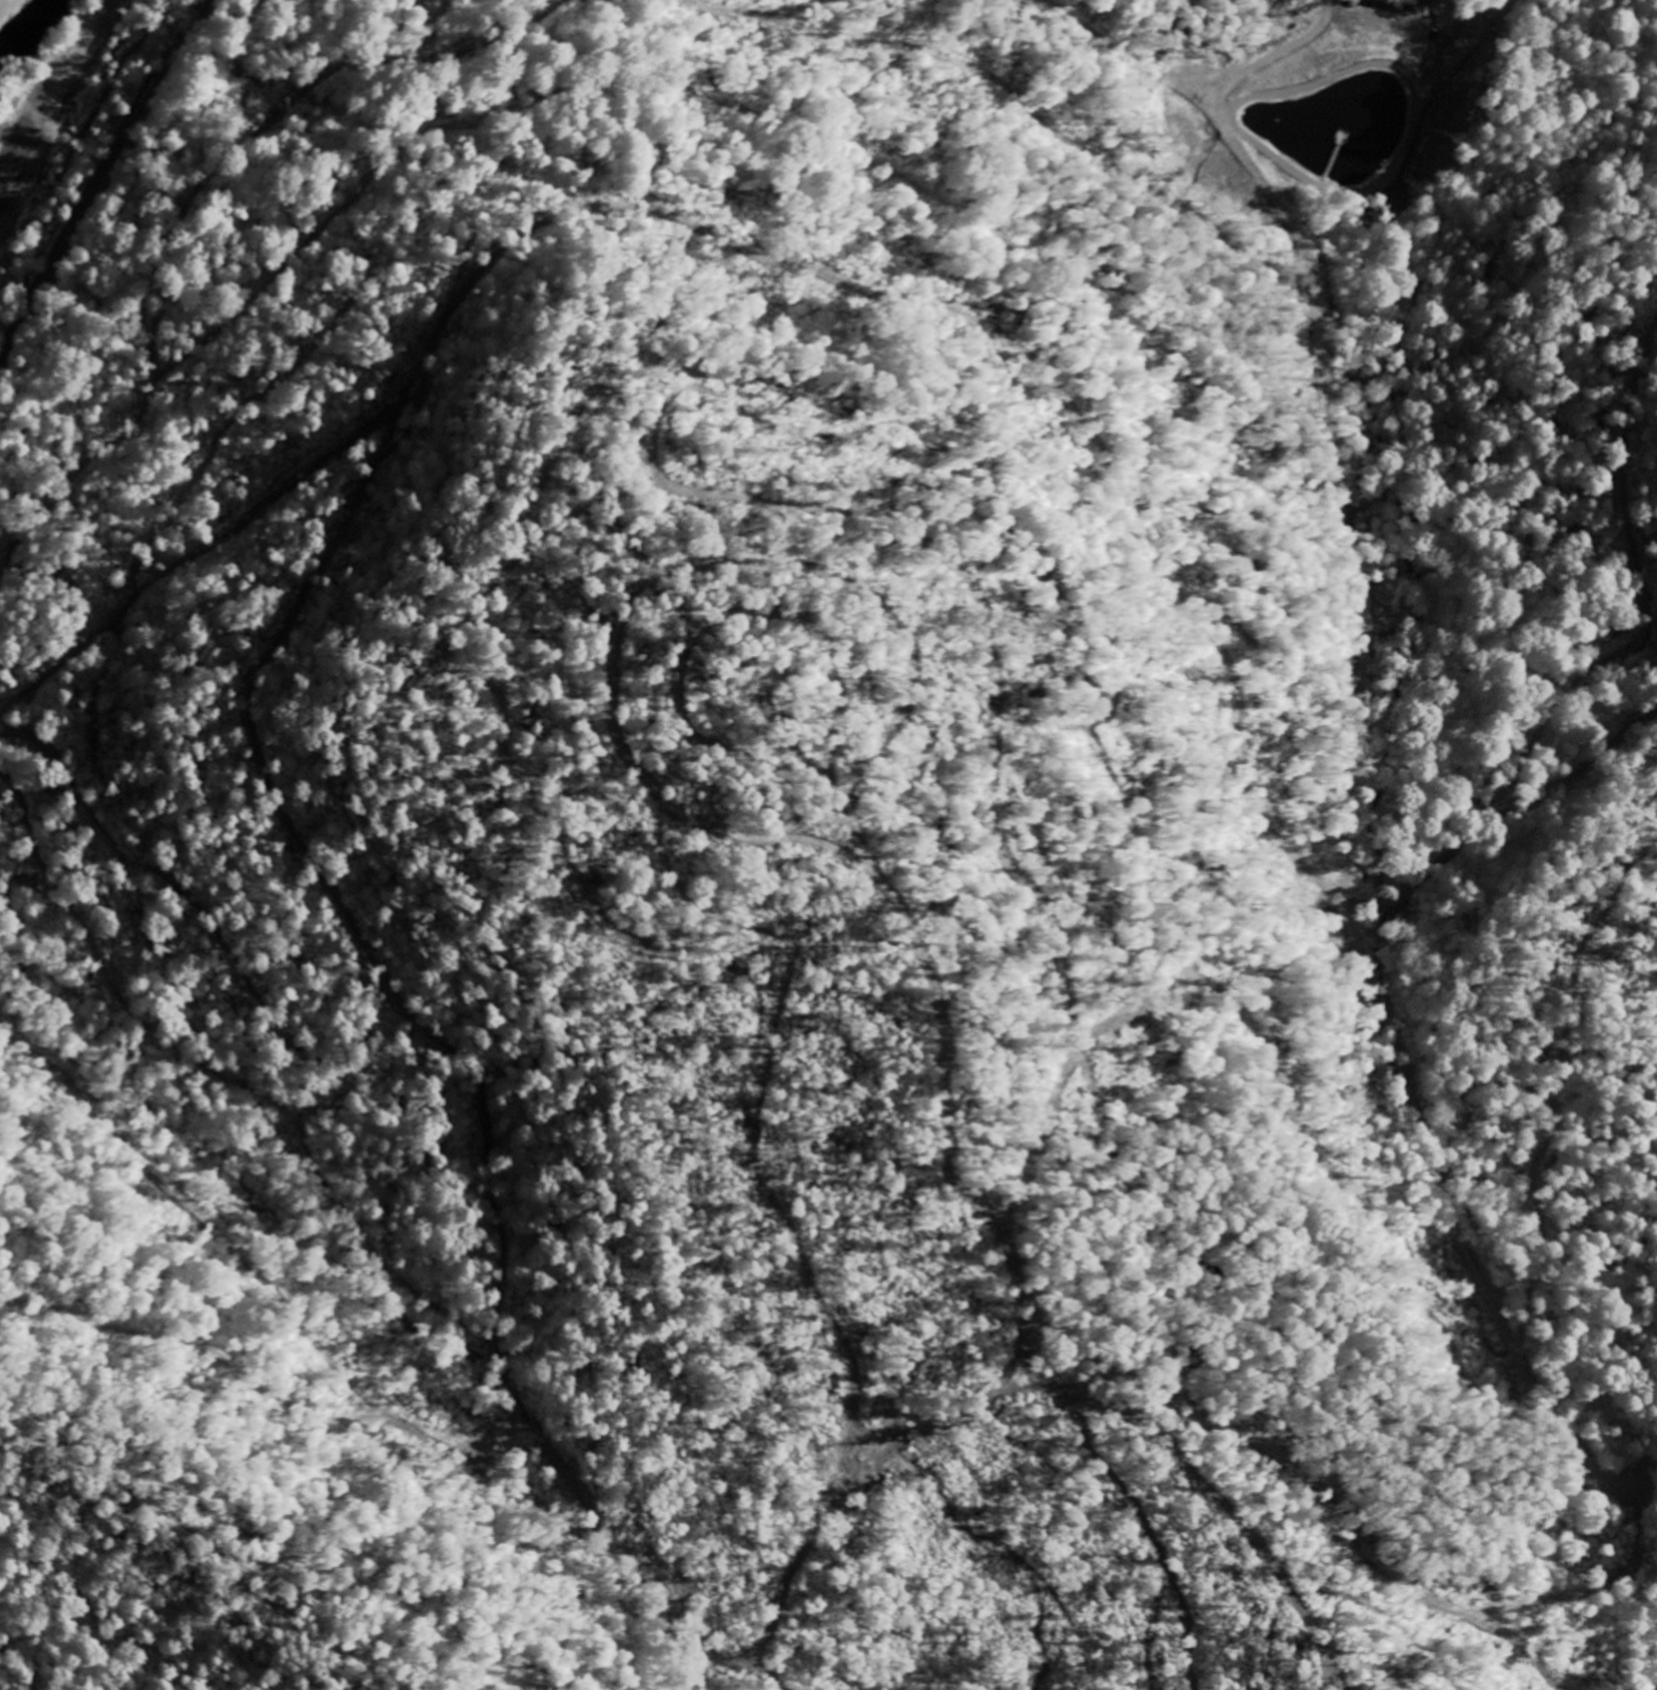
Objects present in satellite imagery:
road: (100, 176)

